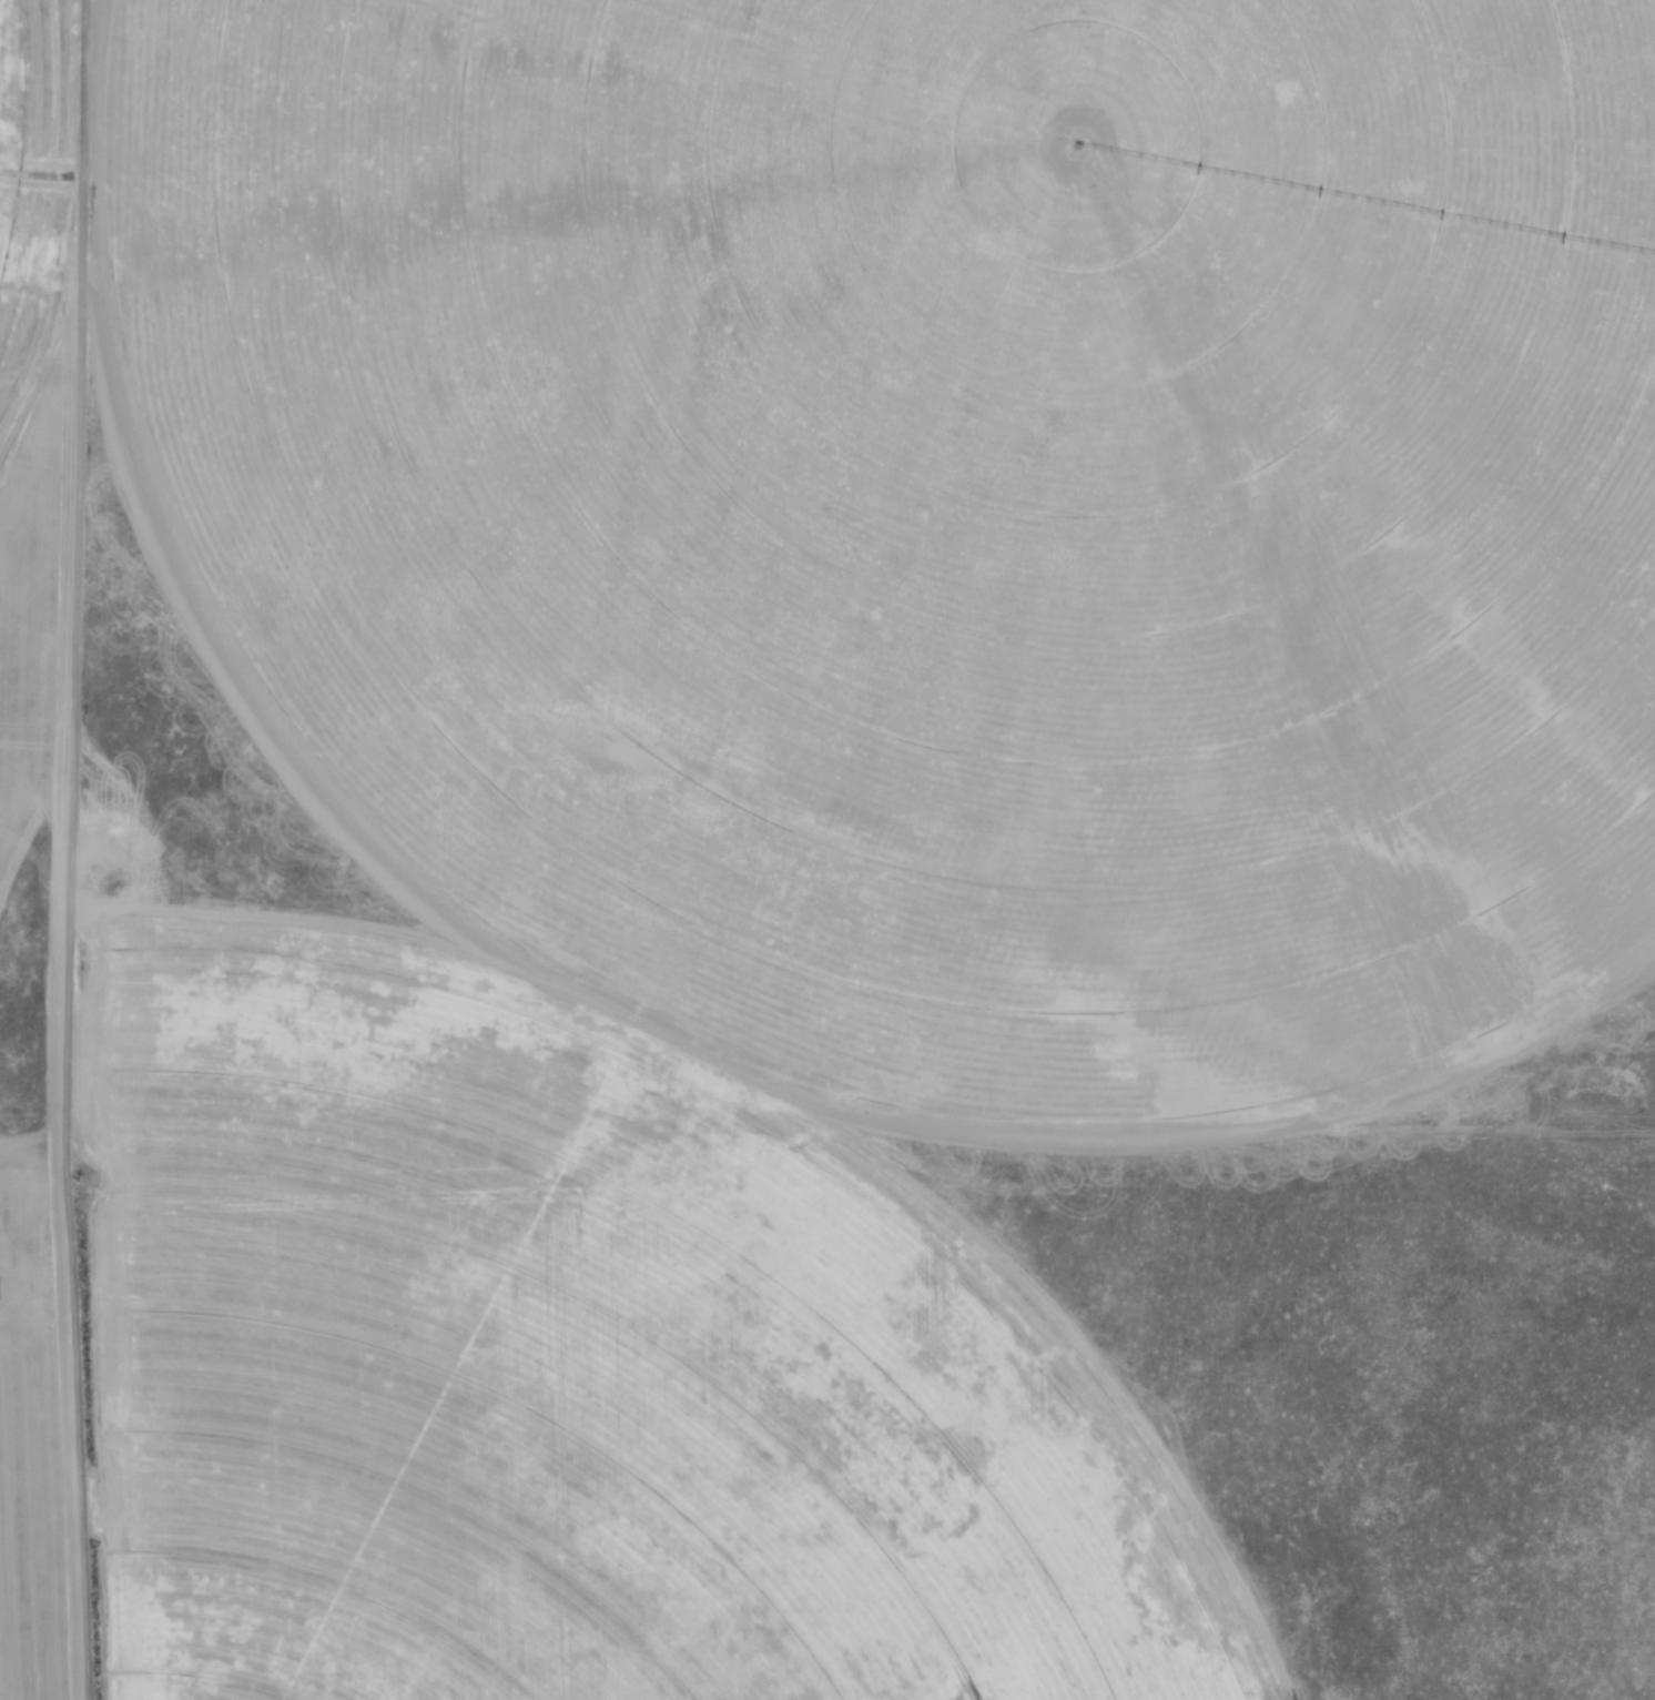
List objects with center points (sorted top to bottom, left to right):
road: (583, 1130)

